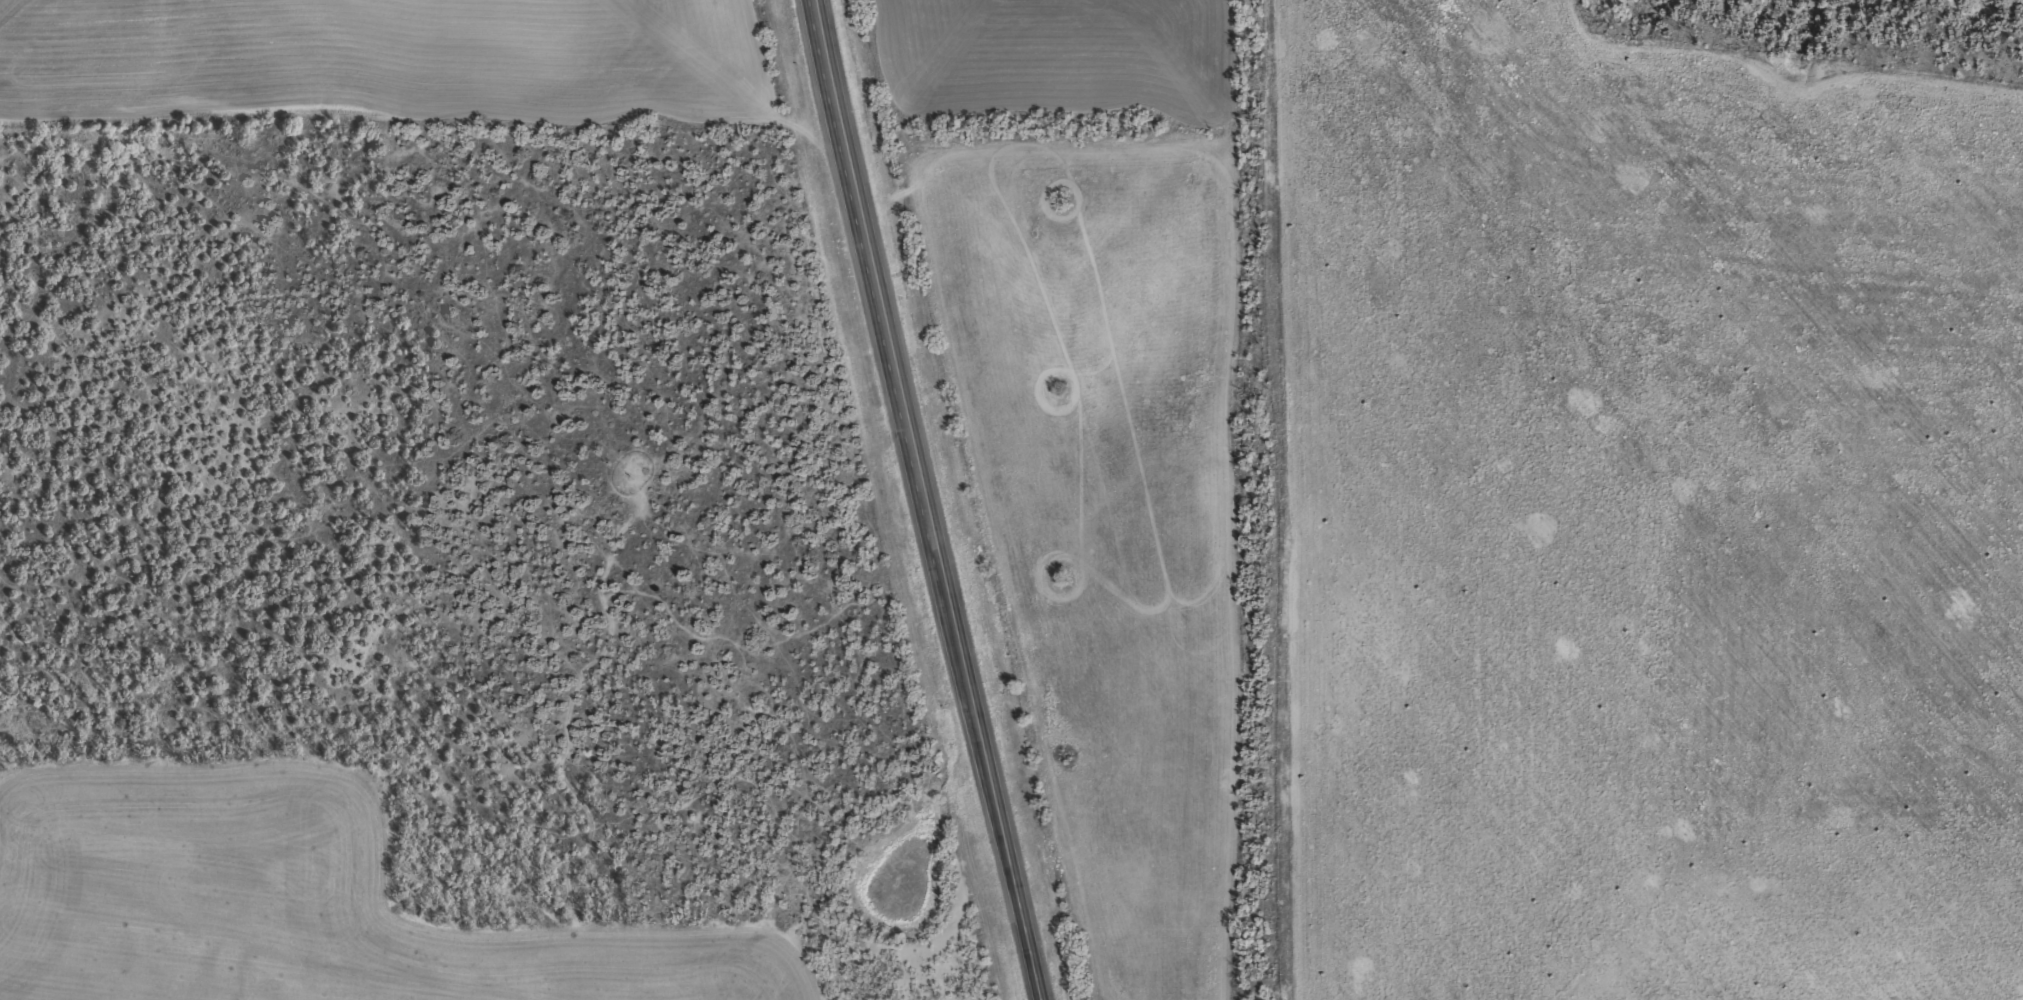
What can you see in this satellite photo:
road: (925, 499)

